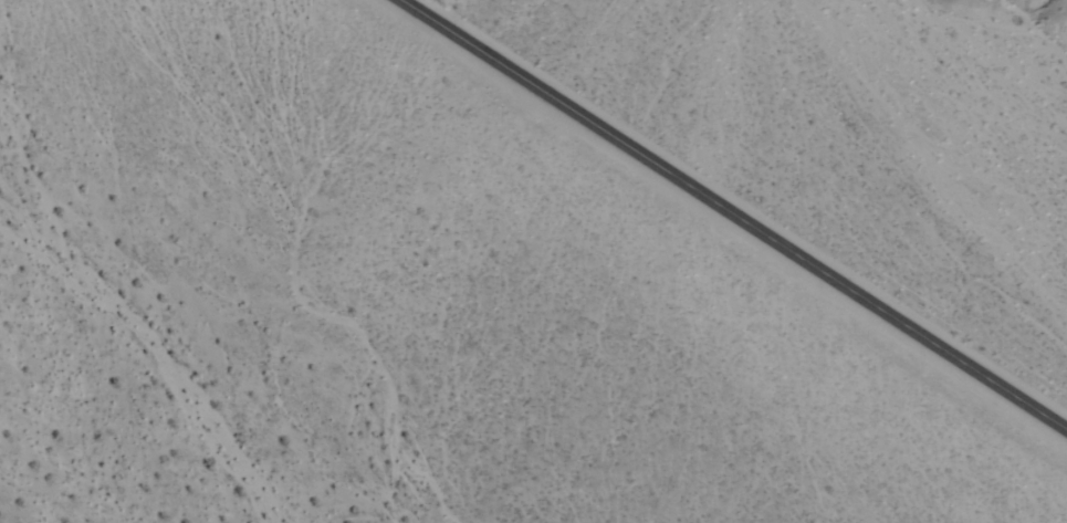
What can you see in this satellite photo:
road: (714, 223)

